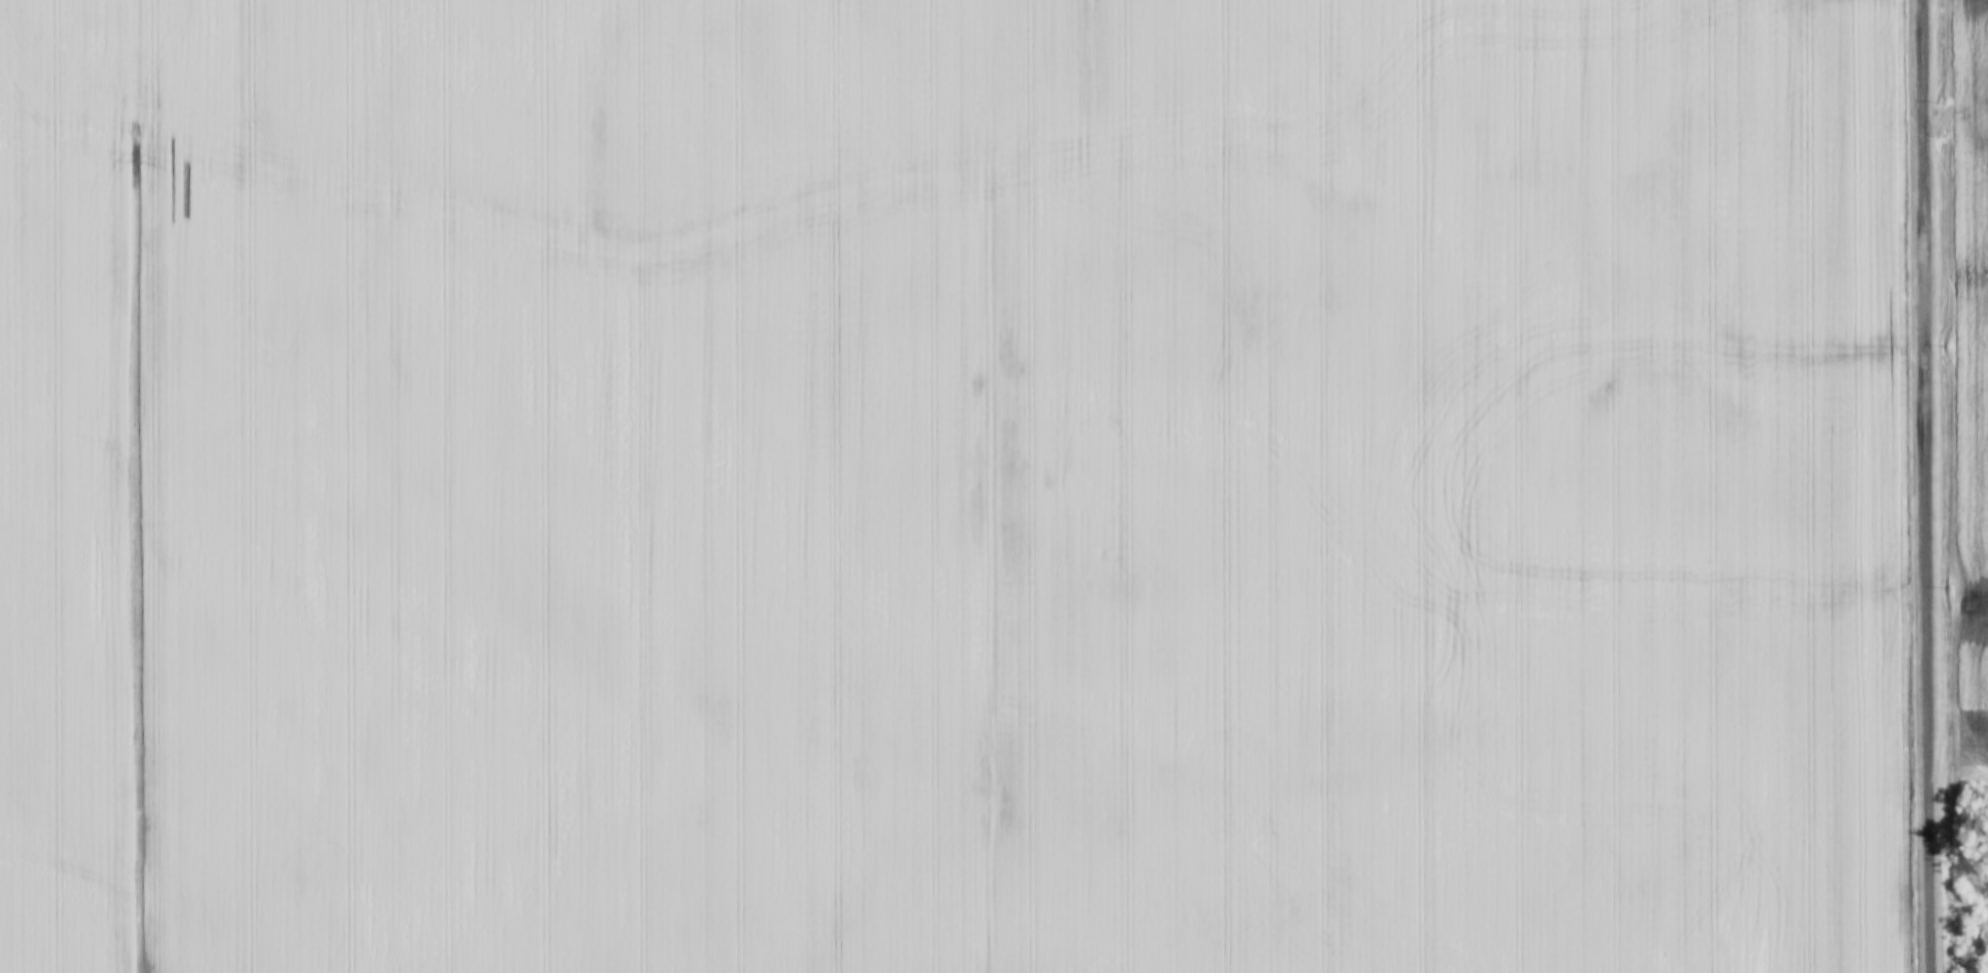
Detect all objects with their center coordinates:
road: (1924, 486)

